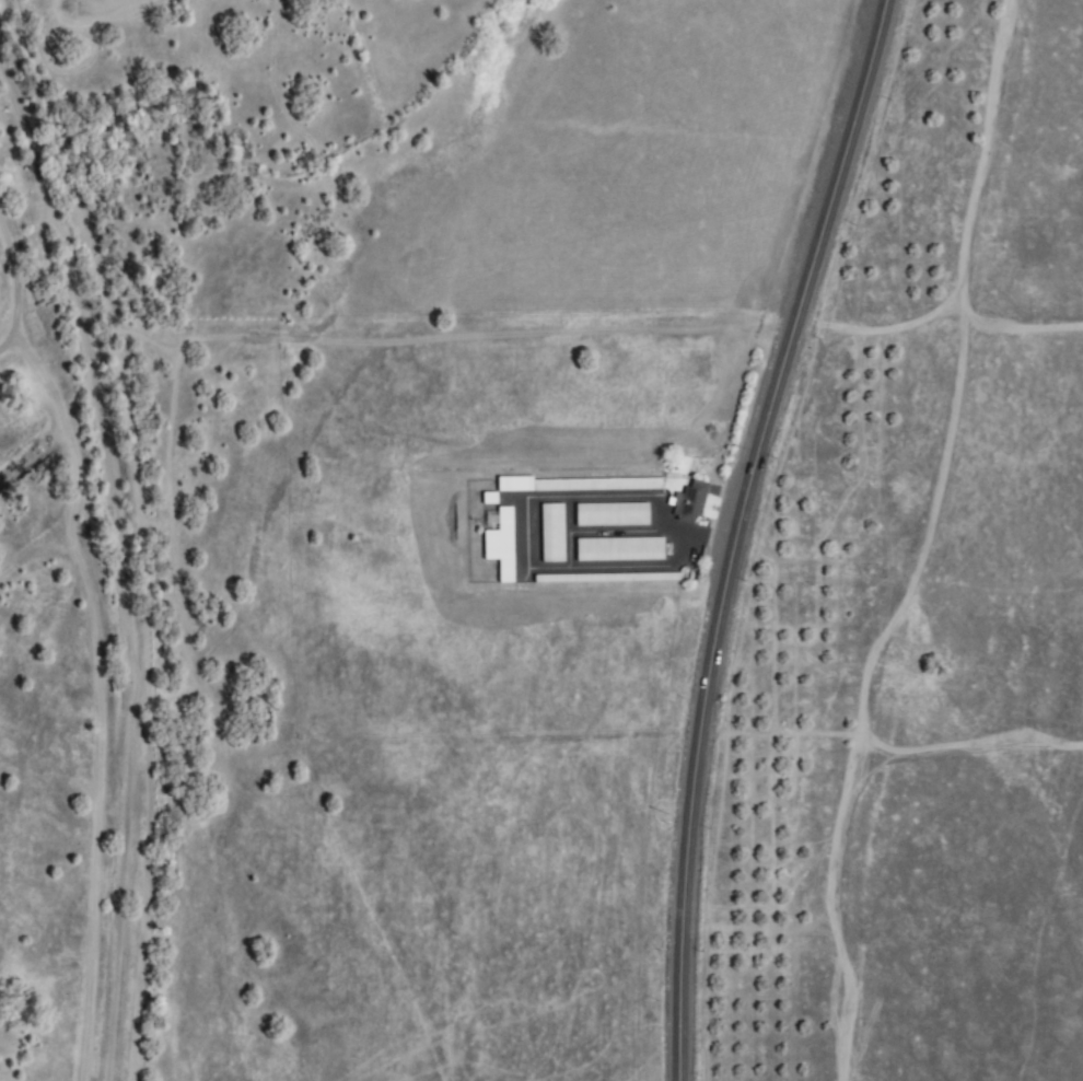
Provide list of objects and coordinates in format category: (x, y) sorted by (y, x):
building: (579, 485)
building: (689, 503)
building: (610, 515)
road: (734, 532)
building: (551, 533)
building: (500, 546)
building: (619, 550)
building: (628, 578)

